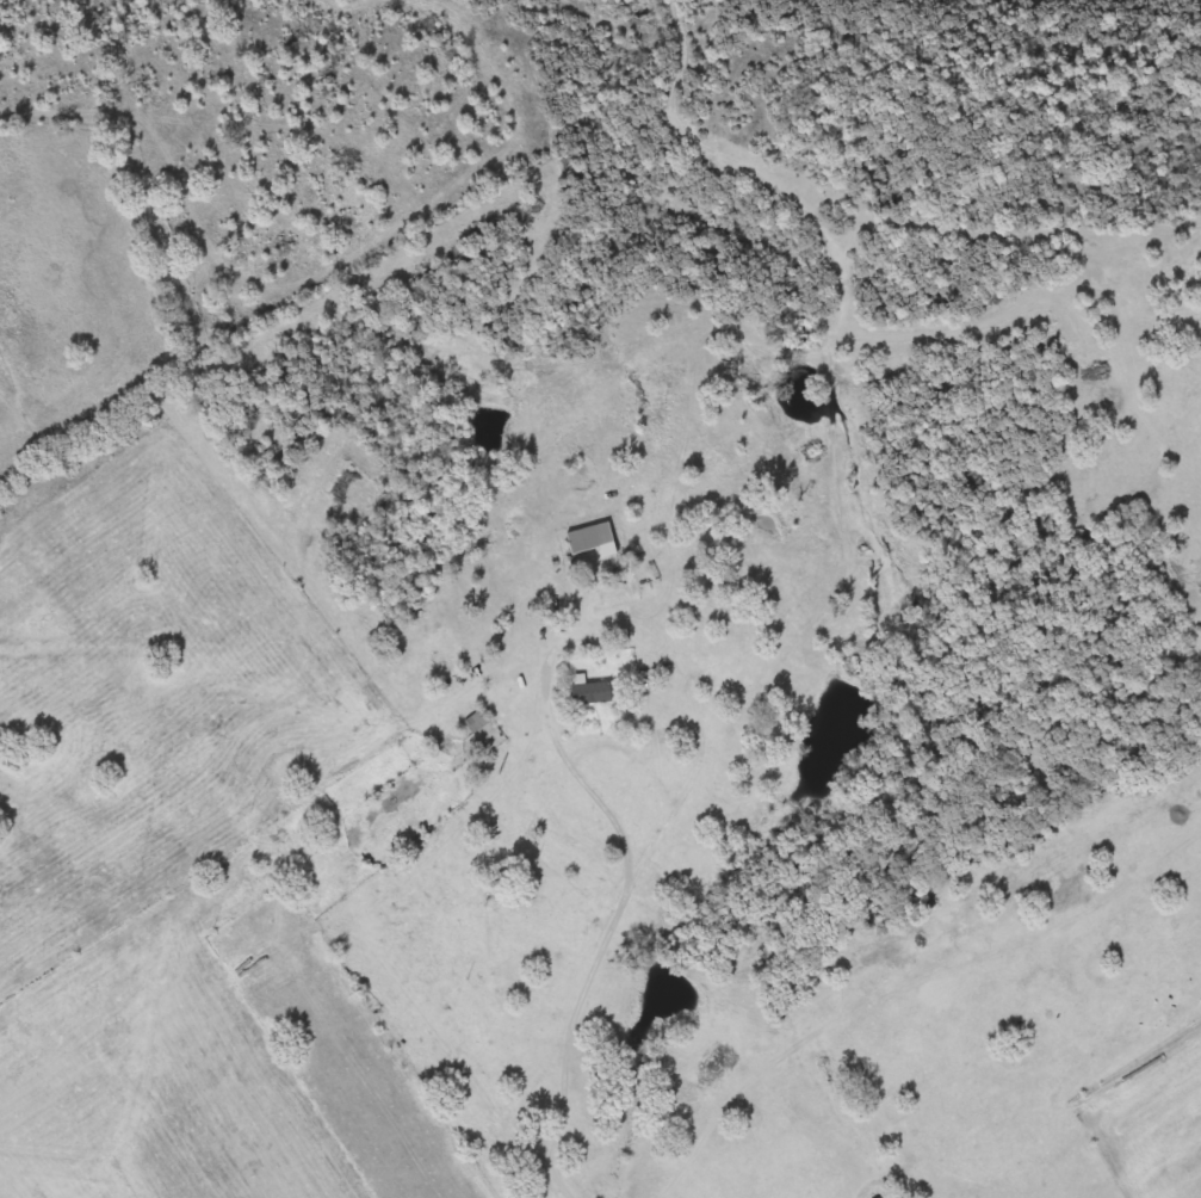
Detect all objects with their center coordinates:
building: (596, 541)
building: (594, 692)
building: (481, 722)
road: (623, 879)

